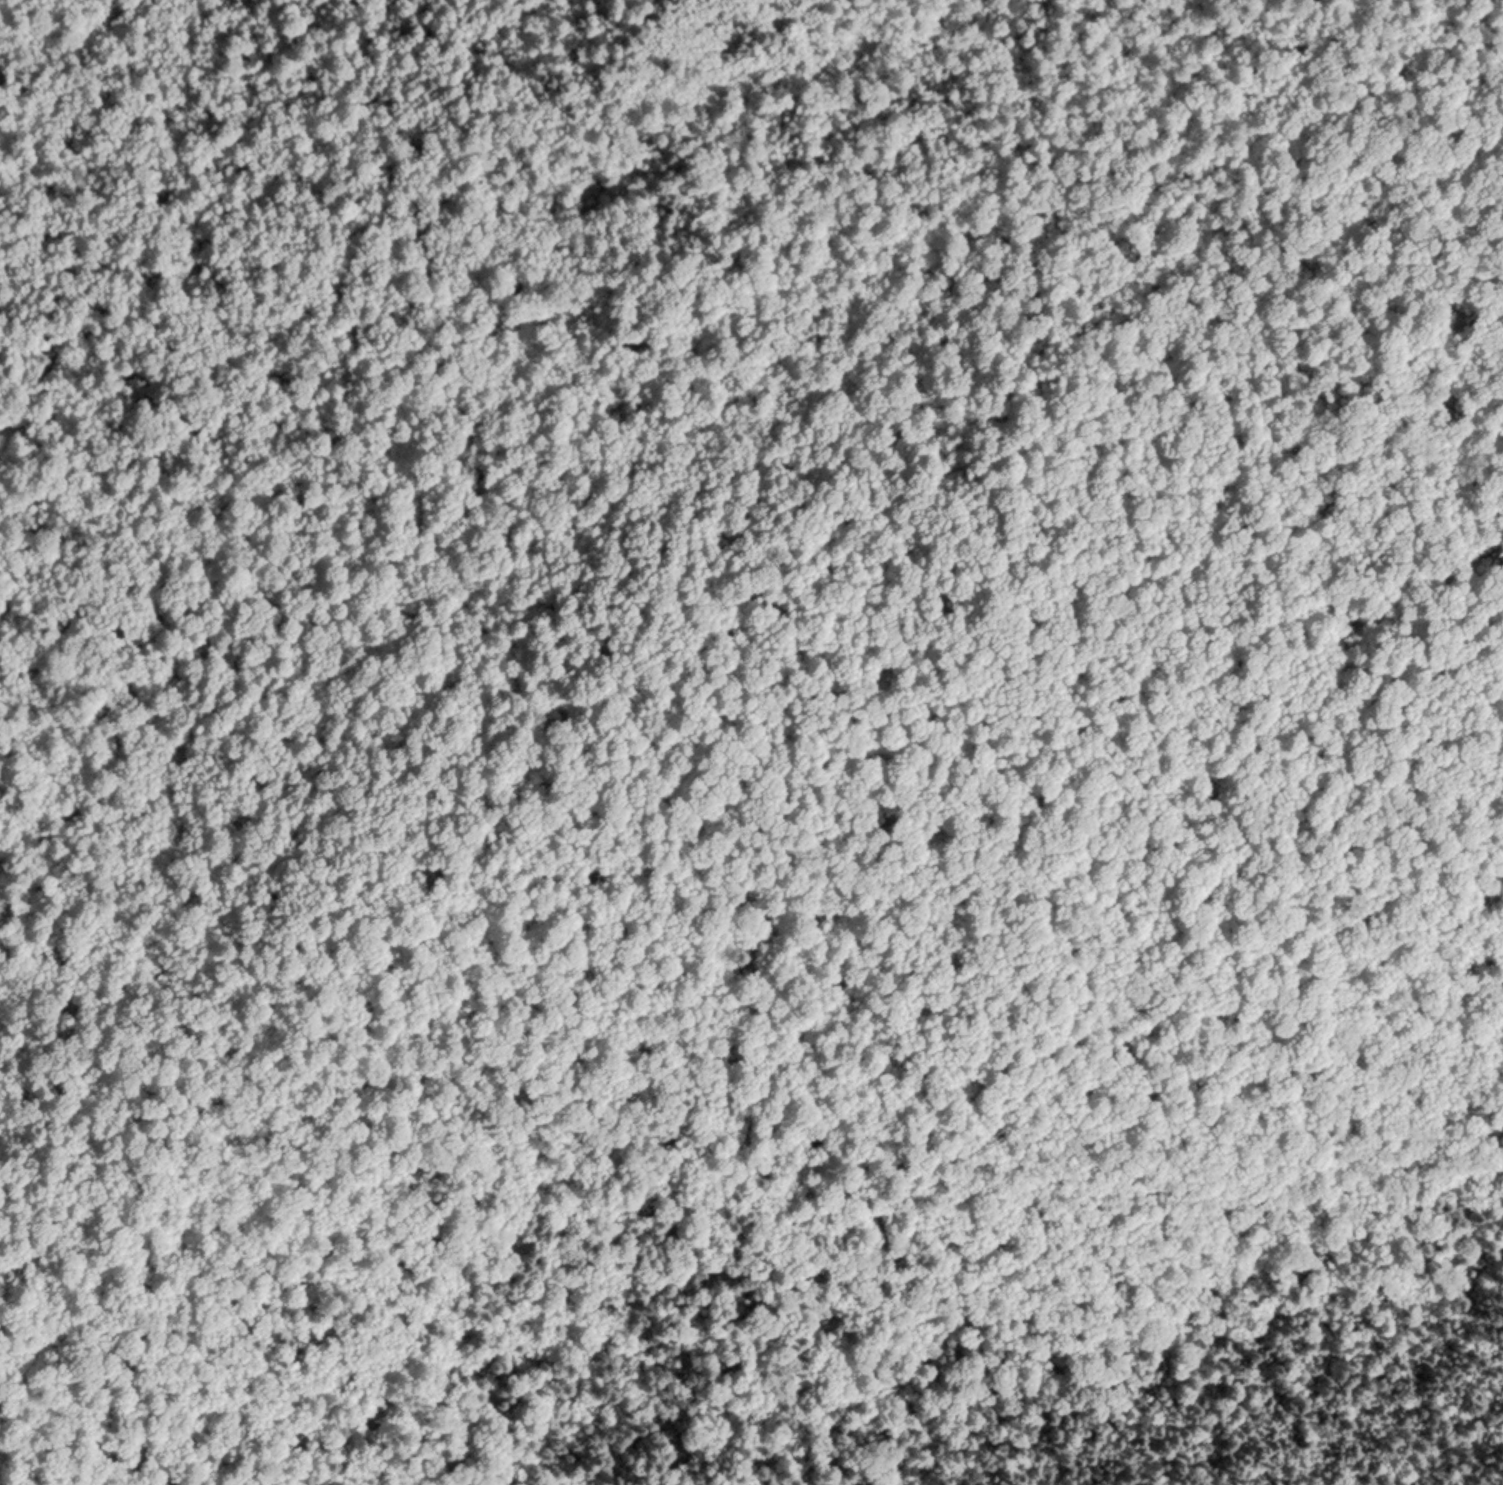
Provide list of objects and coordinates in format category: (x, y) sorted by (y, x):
road: (631, 427)

